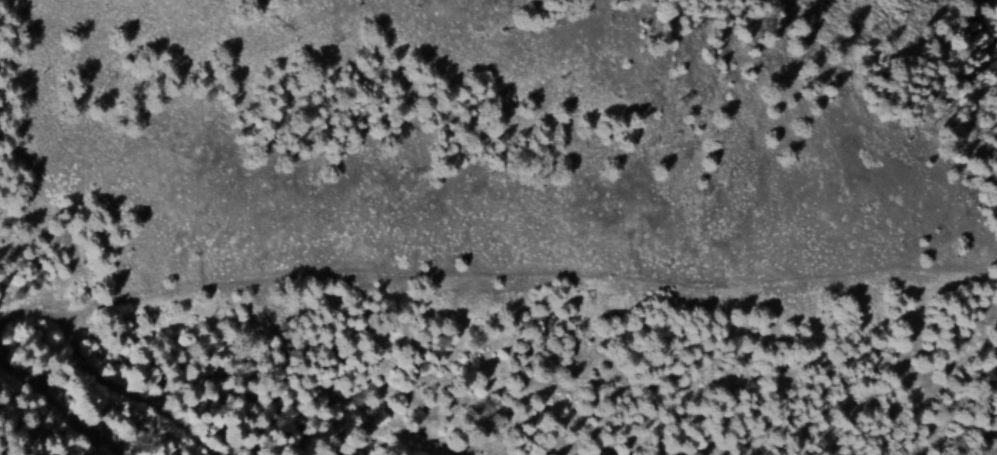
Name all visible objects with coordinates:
road: (181, 444)

